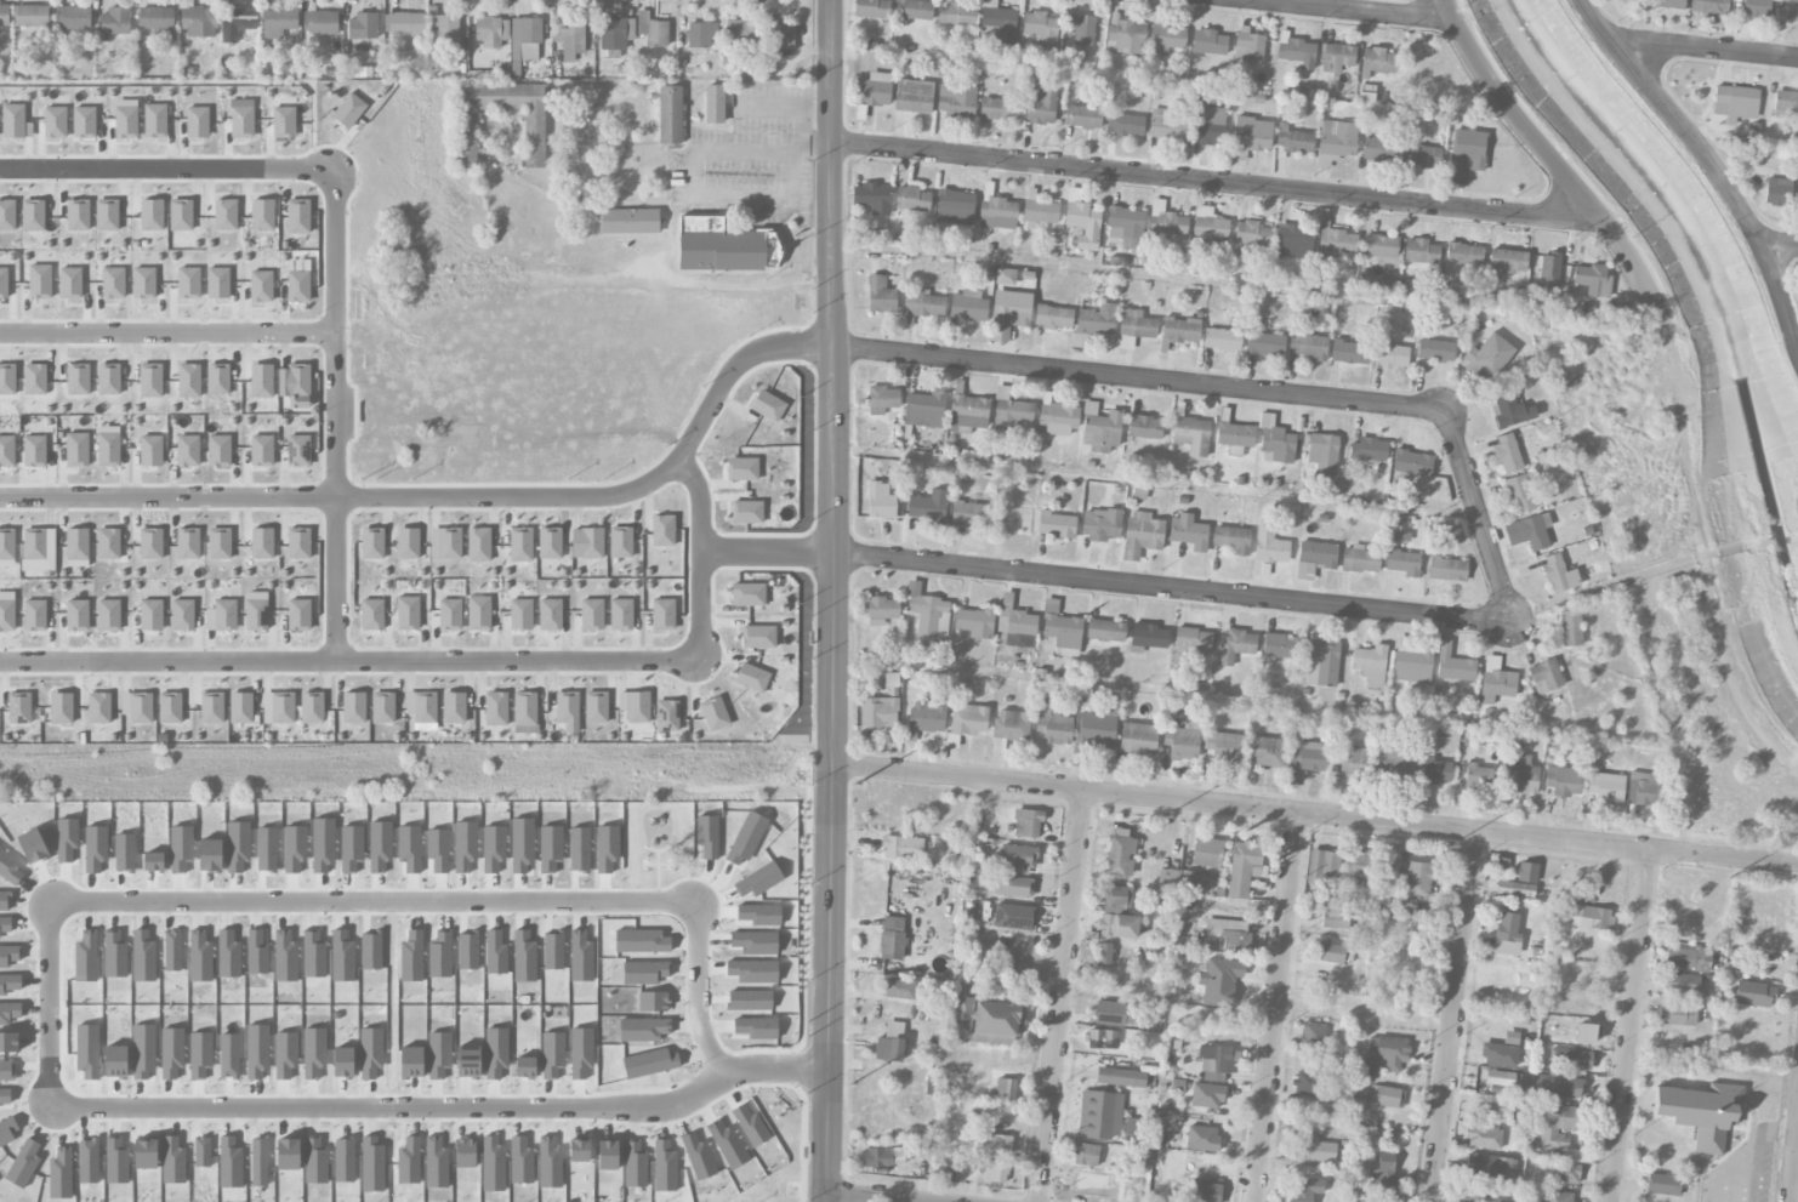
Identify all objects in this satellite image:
building: (1625, 1)
building: (1666, 4)
building: (1709, 7)
building: (1756, 7)
building: (871, 8)
building: (914, 10)
building: (1791, 10)
road: (1342, 11)
building: (956, 15)
building: (4, 16)
building: (30, 16)
building: (72, 18)
building: (155, 18)
building: (195, 21)
building: (114, 22)
building: (235, 23)
building: (277, 23)
building: (319, 23)
building: (403, 23)
building: (995, 24)
building: (362, 27)
building: (442, 28)
building: (1039, 29)
building: (652, 30)
building: (1081, 30)
building: (490, 32)
building: (739, 32)
building: (615, 33)
building: (700, 35)
building: (778, 36)
building: (1123, 36)
building: (571, 38)
building: (1166, 39)
building: (524, 40)
building: (1207, 42)
building: (1247, 47)
road: (1707, 47)
building: (1295, 52)
building: (1335, 57)
building: (1377, 61)
building: (875, 90)
building: (912, 96)
building: (955, 101)
building: (1786, 101)
building: (1735, 102)
building: (715, 103)
building: (997, 109)
building: (1040, 109)
building: (348, 110)
building: (670, 115)
building: (1082, 118)
building: (283, 123)
building: (1125, 125)
building: (1165, 125)
building: (1208, 126)
building: (1251, 133)
building: (466, 137)
building: (1337, 138)
building: (1292, 139)
building: (1377, 149)
building: (1466, 154)
building: (1421, 155)
road: (1707, 161)
road: (167, 169)
road: (695, 170)
road: (1213, 184)
road: (1575, 187)
building: (1776, 192)
building: (1797, 196)
building: (872, 198)
building: (911, 199)
building: (955, 207)
building: (1040, 212)
building: (997, 213)
building: (297, 216)
building: (630, 221)
building: (1167, 223)
building: (1083, 224)
building: (1123, 224)
building: (1208, 224)
building: (1251, 234)
building: (1293, 241)
building: (1336, 241)
building: (724, 246)
building: (1378, 246)
road: (1780, 246)
building: (1419, 251)
building: (1463, 255)
building: (1507, 261)
building: (1548, 272)
building: (1005, 277)
building: (1592, 280)
building: (297, 286)
building: (880, 295)
building: (923, 303)
building: (967, 306)
building: (1011, 308)
building: (1052, 318)
building: (1096, 320)
building: (1136, 324)
building: (1179, 330)
road: (167, 334)
building: (1222, 340)
building: (1264, 344)
building: (1307, 346)
building: (1434, 351)
building: (1348, 353)
building: (1390, 357)
building: (1487, 357)
road: (1138, 380)
building: (297, 381)
building: (882, 400)
building: (767, 406)
building: (923, 410)
building: (1509, 410)
building: (1009, 411)
road: (336, 414)
building: (967, 414)
building: (1057, 420)
building: (1144, 427)
building: (1099, 428)
building: (1191, 435)
building: (1234, 437)
building: (1274, 443)
building: (75, 450)
building: (107, 450)
building: (1367, 450)
building: (6, 451)
building: (33, 451)
building: (150, 451)
building: (187, 451)
building: (218, 451)
building: (260, 451)
building: (297, 451)
building: (1322, 454)
building: (1506, 454)
building: (1411, 463)
building: (741, 469)
building: (1520, 492)
road: (451, 497)
building: (880, 501)
building: (928, 507)
building: (746, 512)
road: (1478, 513)
building: (969, 514)
building: (1056, 525)
building: (1100, 525)
building: (661, 531)
building: (1187, 532)
building: (1527, 532)
building: (1140, 535)
building: (1231, 540)
building: (150, 543)
building: (187, 543)
building: (218, 543)
building: (261, 543)
building: (297, 543)
building: (371, 543)
building: (406, 543)
building: (449, 543)
building: (548, 543)
building: (586, 543)
building: (620, 543)
building: (6, 545)
building: (34, 545)
building: (76, 545)
building: (107, 545)
building: (478, 546)
building: (519, 546)
building: (1267, 549)
road: (767, 552)
road: (698, 557)
building: (1315, 557)
building: (1359, 560)
building: (1402, 563)
building: (1446, 569)
building: (1558, 574)
road: (1173, 587)
building: (747, 594)
road: (833, 600)
building: (1005, 604)
building: (881, 610)
building: (406, 614)
building: (449, 614)
building: (478, 614)
building: (6, 615)
building: (34, 615)
building: (75, 615)
building: (108, 615)
building: (150, 615)
building: (181, 615)
building: (255, 615)
building: (298, 615)
building: (371, 615)
building: (519, 615)
building: (548, 615)
building: (591, 615)
building: (620, 615)
building: (662, 615)
building: (928, 615)
building: (224, 616)
building: (974, 622)
building: (1020, 623)
building: (1570, 628)
building: (1060, 630)
building: (1104, 631)
building: (758, 638)
building: (1146, 638)
building: (1191, 639)
building: (1234, 645)
building: (1280, 646)
road: (348, 660)
building: (1321, 663)
building: (1370, 665)
building: (1412, 665)
building: (1452, 665)
building: (1544, 677)
building: (751, 678)
building: (891, 684)
building: (1496, 685)
building: (311, 707)
building: (565, 707)
building: (594, 707)
building: (637, 707)
building: (18, 708)
building: (61, 708)
building: (98, 708)
building: (140, 708)
building: (169, 708)
building: (211, 708)
building: (240, 708)
building: (281, 708)
building: (353, 708)
building: (382, 708)
building: (423, 708)
building: (453, 708)
building: (524, 708)
building: (495, 710)
building: (877, 712)
building: (713, 714)
building: (666, 716)
building: (926, 717)
building: (966, 722)
building: (1011, 725)
building: (1052, 727)
building: (1097, 729)
building: (1137, 739)
building: (1512, 741)
building: (1180, 744)
building: (1223, 746)
building: (1265, 752)
building: (1308, 757)
building: (1353, 760)
building: (1389, 762)
building: (1435, 771)
building: (1520, 775)
building: (1476, 776)
building: (1563, 781)
power tower: (853, 785)
building: (1605, 787)
building: (1643, 790)
road: (1315, 814)
power tower: (1162, 818)
building: (1026, 824)
power tower: (1446, 847)
building: (901, 849)
building: (1206, 853)
building: (1017, 856)
building: (1120, 856)
building: (1360, 865)
building: (1321, 866)
building: (1242, 868)
building: (1526, 873)
building: (1171, 877)
power tower: (1729, 878)
building: (1417, 879)
building: (1013, 887)
building: (1514, 889)
building: (1115, 898)
building: (1163, 904)
building: (1012, 917)
building: (1587, 917)
building: (1335, 919)
building: (1116, 925)
building: (1225, 935)
building: (1507, 935)
building: (891, 939)
building: (1103, 953)
building: (1328, 953)
building: (1686, 959)
building: (1218, 981)
building: (1680, 984)
building: (898, 990)
road: (50, 993)
building: (1753, 993)
road: (1058, 997)
road: (1275, 1007)
building: (1113, 1014)
building: (1677, 1015)
road: (1452, 1016)
building: (984, 1020)
road: (1627, 1025)
building: (1311, 1035)
building: (1583, 1035)
building: (1102, 1039)
building: (888, 1049)
building: (1388, 1052)
building: (1498, 1055)
building: (1570, 1059)
building: (1218, 1063)
building: (1366, 1070)
building: (1120, 1077)
building: (1498, 1078)
building: (1520, 1082)
power tower: (849, 1084)
building: (1308, 1084)
building: (1557, 1086)
building: (1005, 1089)
building: (1206, 1095)
building: (1386, 1096)
building: (1701, 1112)
building: (1099, 1115)
building: (1557, 1126)
building: (1132, 1130)
building: (1483, 1138)
building: (1201, 1139)
building: (996, 1144)
building: (1319, 1151)
building: (1085, 1155)
building: (884, 1157)
road: (1793, 1158)
building: (1487, 1166)
building: (996, 1172)
building: (1560, 1173)
building: (1379, 1184)
building: (1662, 1185)
building: (1304, 1190)
building: (1201, 1192)
building: (1475, 1192)
building: (1557, 1196)
road: (866, 1197)

